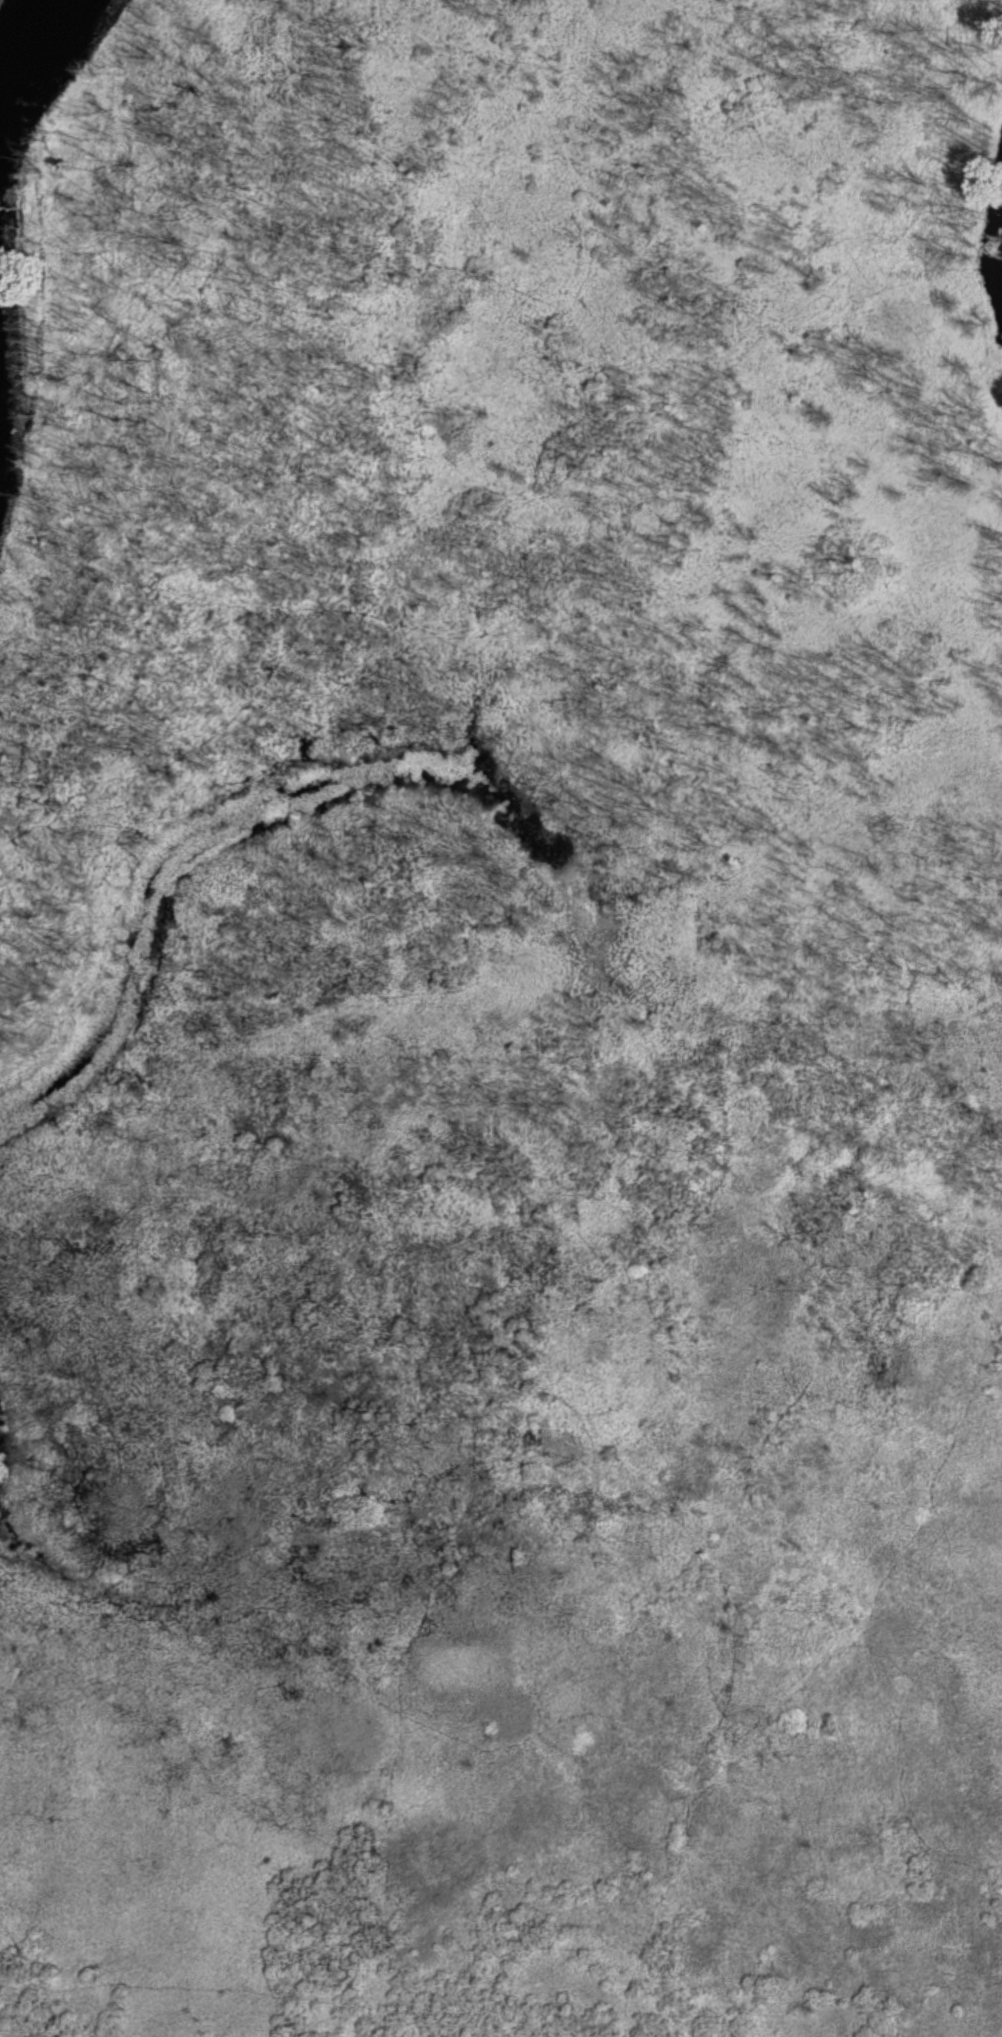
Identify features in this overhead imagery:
river: (25, 50)

